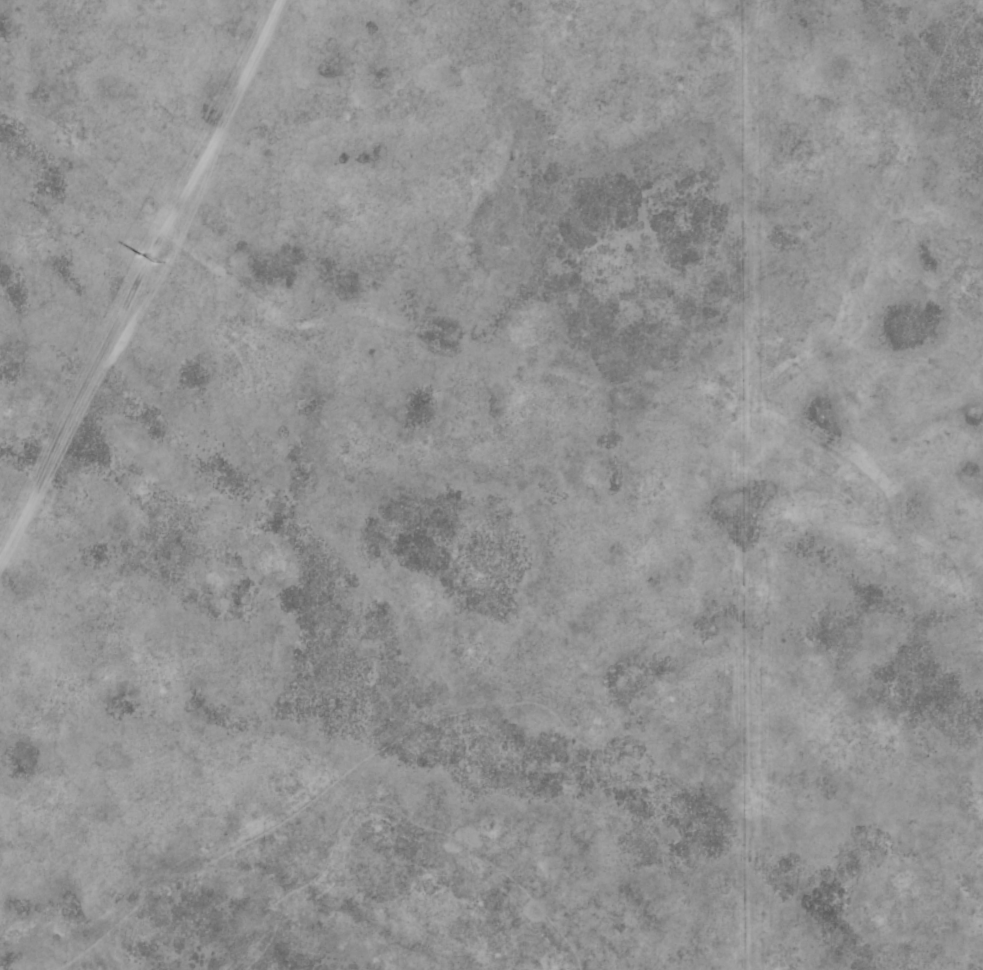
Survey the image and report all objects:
power tower: (145, 257)

